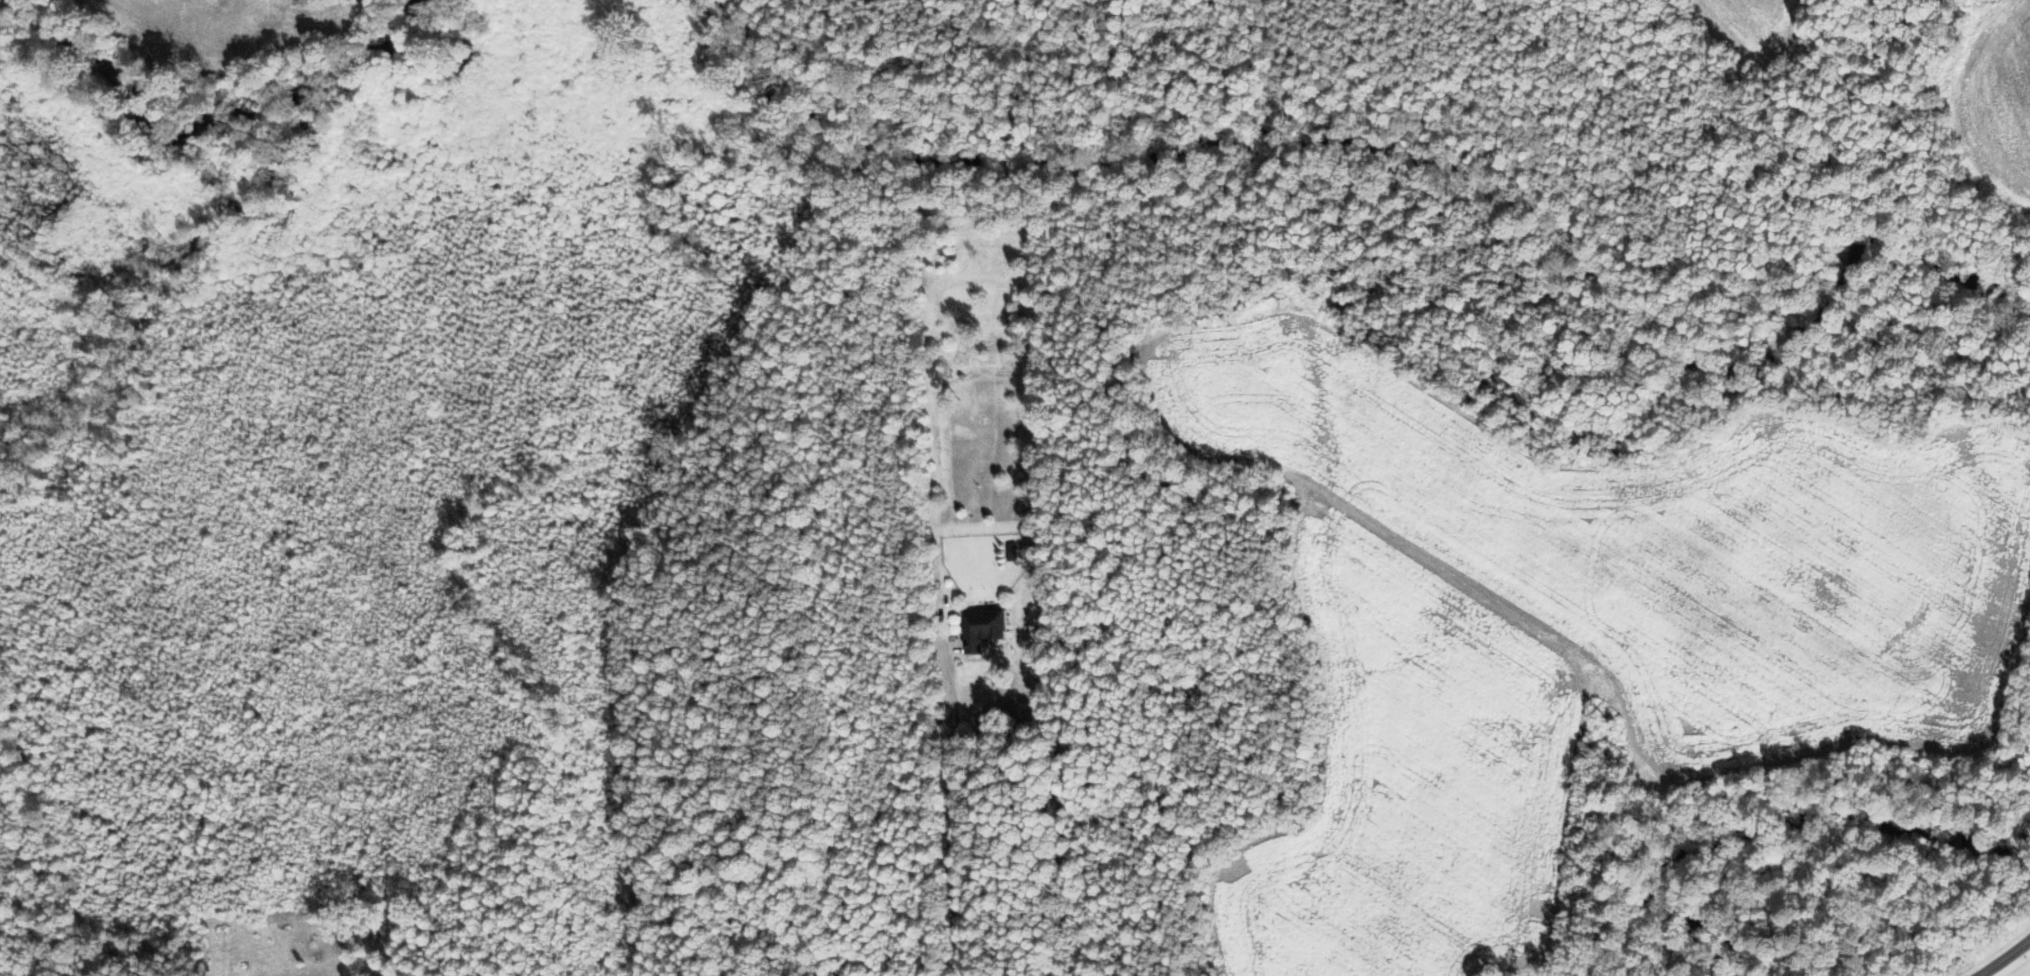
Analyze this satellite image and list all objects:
road: (957, 812)
road: (2005, 959)

